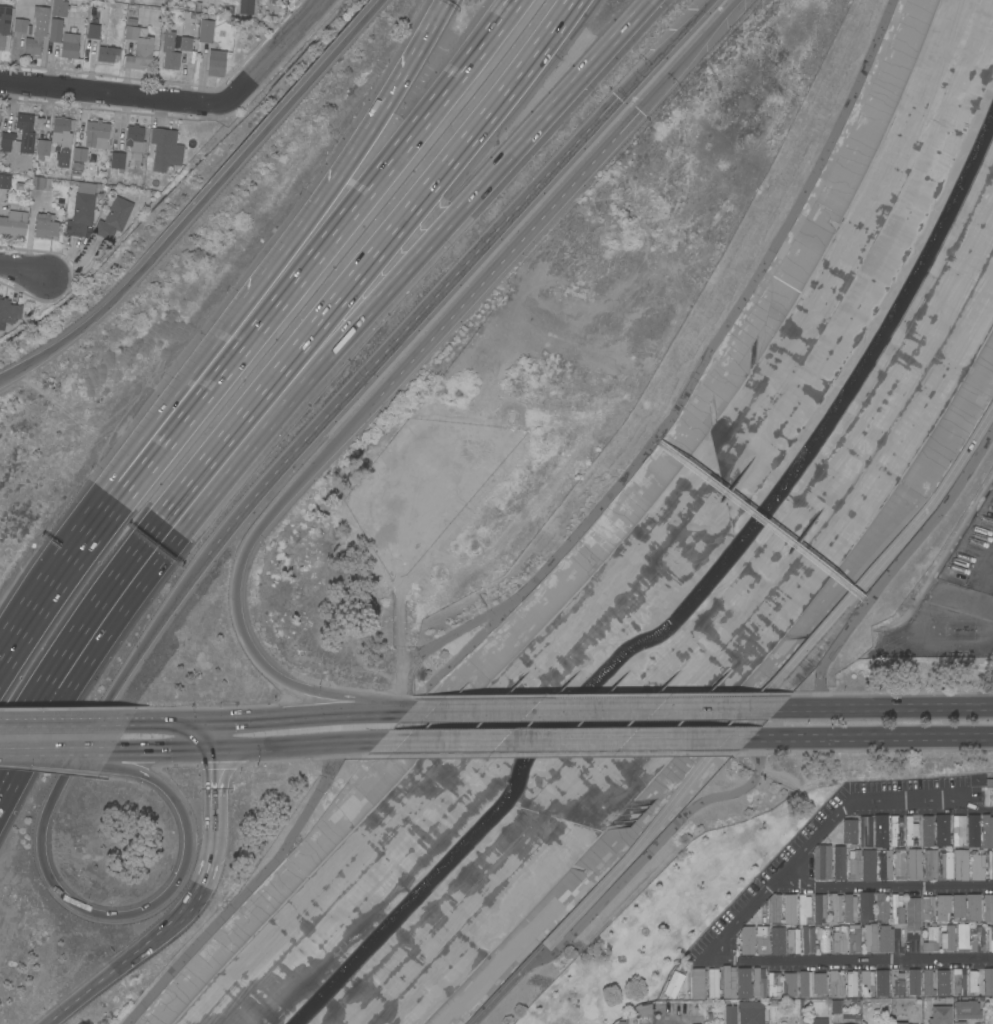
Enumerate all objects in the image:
building: (246, 7)
building: (59, 8)
building: (97, 22)
building: (4, 24)
building: (22, 26)
building: (55, 30)
building: (37, 31)
building: (206, 31)
building: (185, 44)
building: (69, 46)
building: (138, 48)
road: (664, 49)
building: (170, 51)
road: (275, 53)
building: (104, 55)
road: (685, 57)
building: (216, 63)
road: (113, 93)
building: (25, 132)
building: (135, 138)
building: (61, 140)
building: (6, 142)
building: (91, 144)
building: (42, 148)
building: (165, 149)
road: (354, 149)
building: (117, 161)
building: (76, 167)
building: (5, 181)
building: (41, 183)
road: (199, 201)
building: (80, 214)
building: (113, 218)
building: (12, 224)
building: (45, 227)
road: (303, 257)
road: (507, 258)
road: (23, 269)
building: (9, 311)
road: (410, 323)
road: (334, 347)
road: (298, 349)
road: (177, 403)
building: (990, 479)
road: (896, 562)
road: (988, 579)
road: (235, 587)
road: (49, 589)
river: (689, 602)
road: (980, 610)
road: (887, 706)
road: (595, 708)
road: (303, 715)
road: (163, 720)
traffic signals: (199, 720)
road: (740, 720)
road: (64, 722)
road: (205, 735)
road: (872, 736)
road: (19, 740)
road: (566, 740)
road: (296, 747)
road: (167, 750)
traffic signals: (212, 750)
road: (61, 751)
road: (59, 758)
road: (213, 776)
building: (989, 781)
building: (910, 829)
building: (942, 829)
building: (895, 830)
building: (958, 830)
building: (850, 831)
building: (865, 831)
building: (880, 831)
building: (926, 831)
building: (973, 831)
building: (987, 831)
road: (652, 846)
road: (40, 853)
building: (822, 862)
building: (839, 862)
building: (899, 863)
building: (914, 864)
building: (930, 864)
building: (990, 864)
building: (854, 865)
building: (868, 865)
building: (885, 865)
building: (946, 865)
building: (960, 865)
road: (207, 866)
building: (976, 866)
road: (884, 886)
park: (675, 889)
building: (957, 905)
building: (865, 906)
building: (819, 907)
building: (881, 907)
building: (942, 907)
building: (973, 907)
building: (834, 908)
building: (849, 908)
building: (928, 908)
building: (987, 908)
building: (773, 909)
building: (896, 909)
building: (789, 910)
building: (804, 910)
building: (913, 913)
road: (736, 925)
building: (869, 937)
building: (947, 937)
building: (822, 938)
building: (840, 938)
building: (930, 938)
building: (962, 938)
building: (990, 938)
building: (762, 939)
building: (807, 939)
building: (854, 939)
building: (885, 939)
building: (977, 939)
building: (746, 940)
building: (776, 940)
building: (793, 940)
road: (110, 972)
building: (958, 981)
building: (988, 981)
building: (679, 982)
building: (728, 982)
building: (743, 982)
building: (758, 982)
building: (881, 982)
building: (913, 982)
building: (973, 982)
building: (697, 983)
building: (713, 983)
building: (819, 983)
building: (850, 983)
building: (867, 983)
building: (896, 983)
building: (928, 983)
building: (942, 983)
building: (789, 984)
building: (804, 984)
building: (835, 984)
building: (773, 985)
building: (835, 1006)
building: (643, 1009)
building: (967, 1010)
building: (751, 1012)
building: (730, 1015)
building: (940, 1015)
building: (631, 1019)
building: (787, 1021)
building: (805, 1021)
building: (899, 1022)
building: (959, 1022)
building: (842, 1023)

